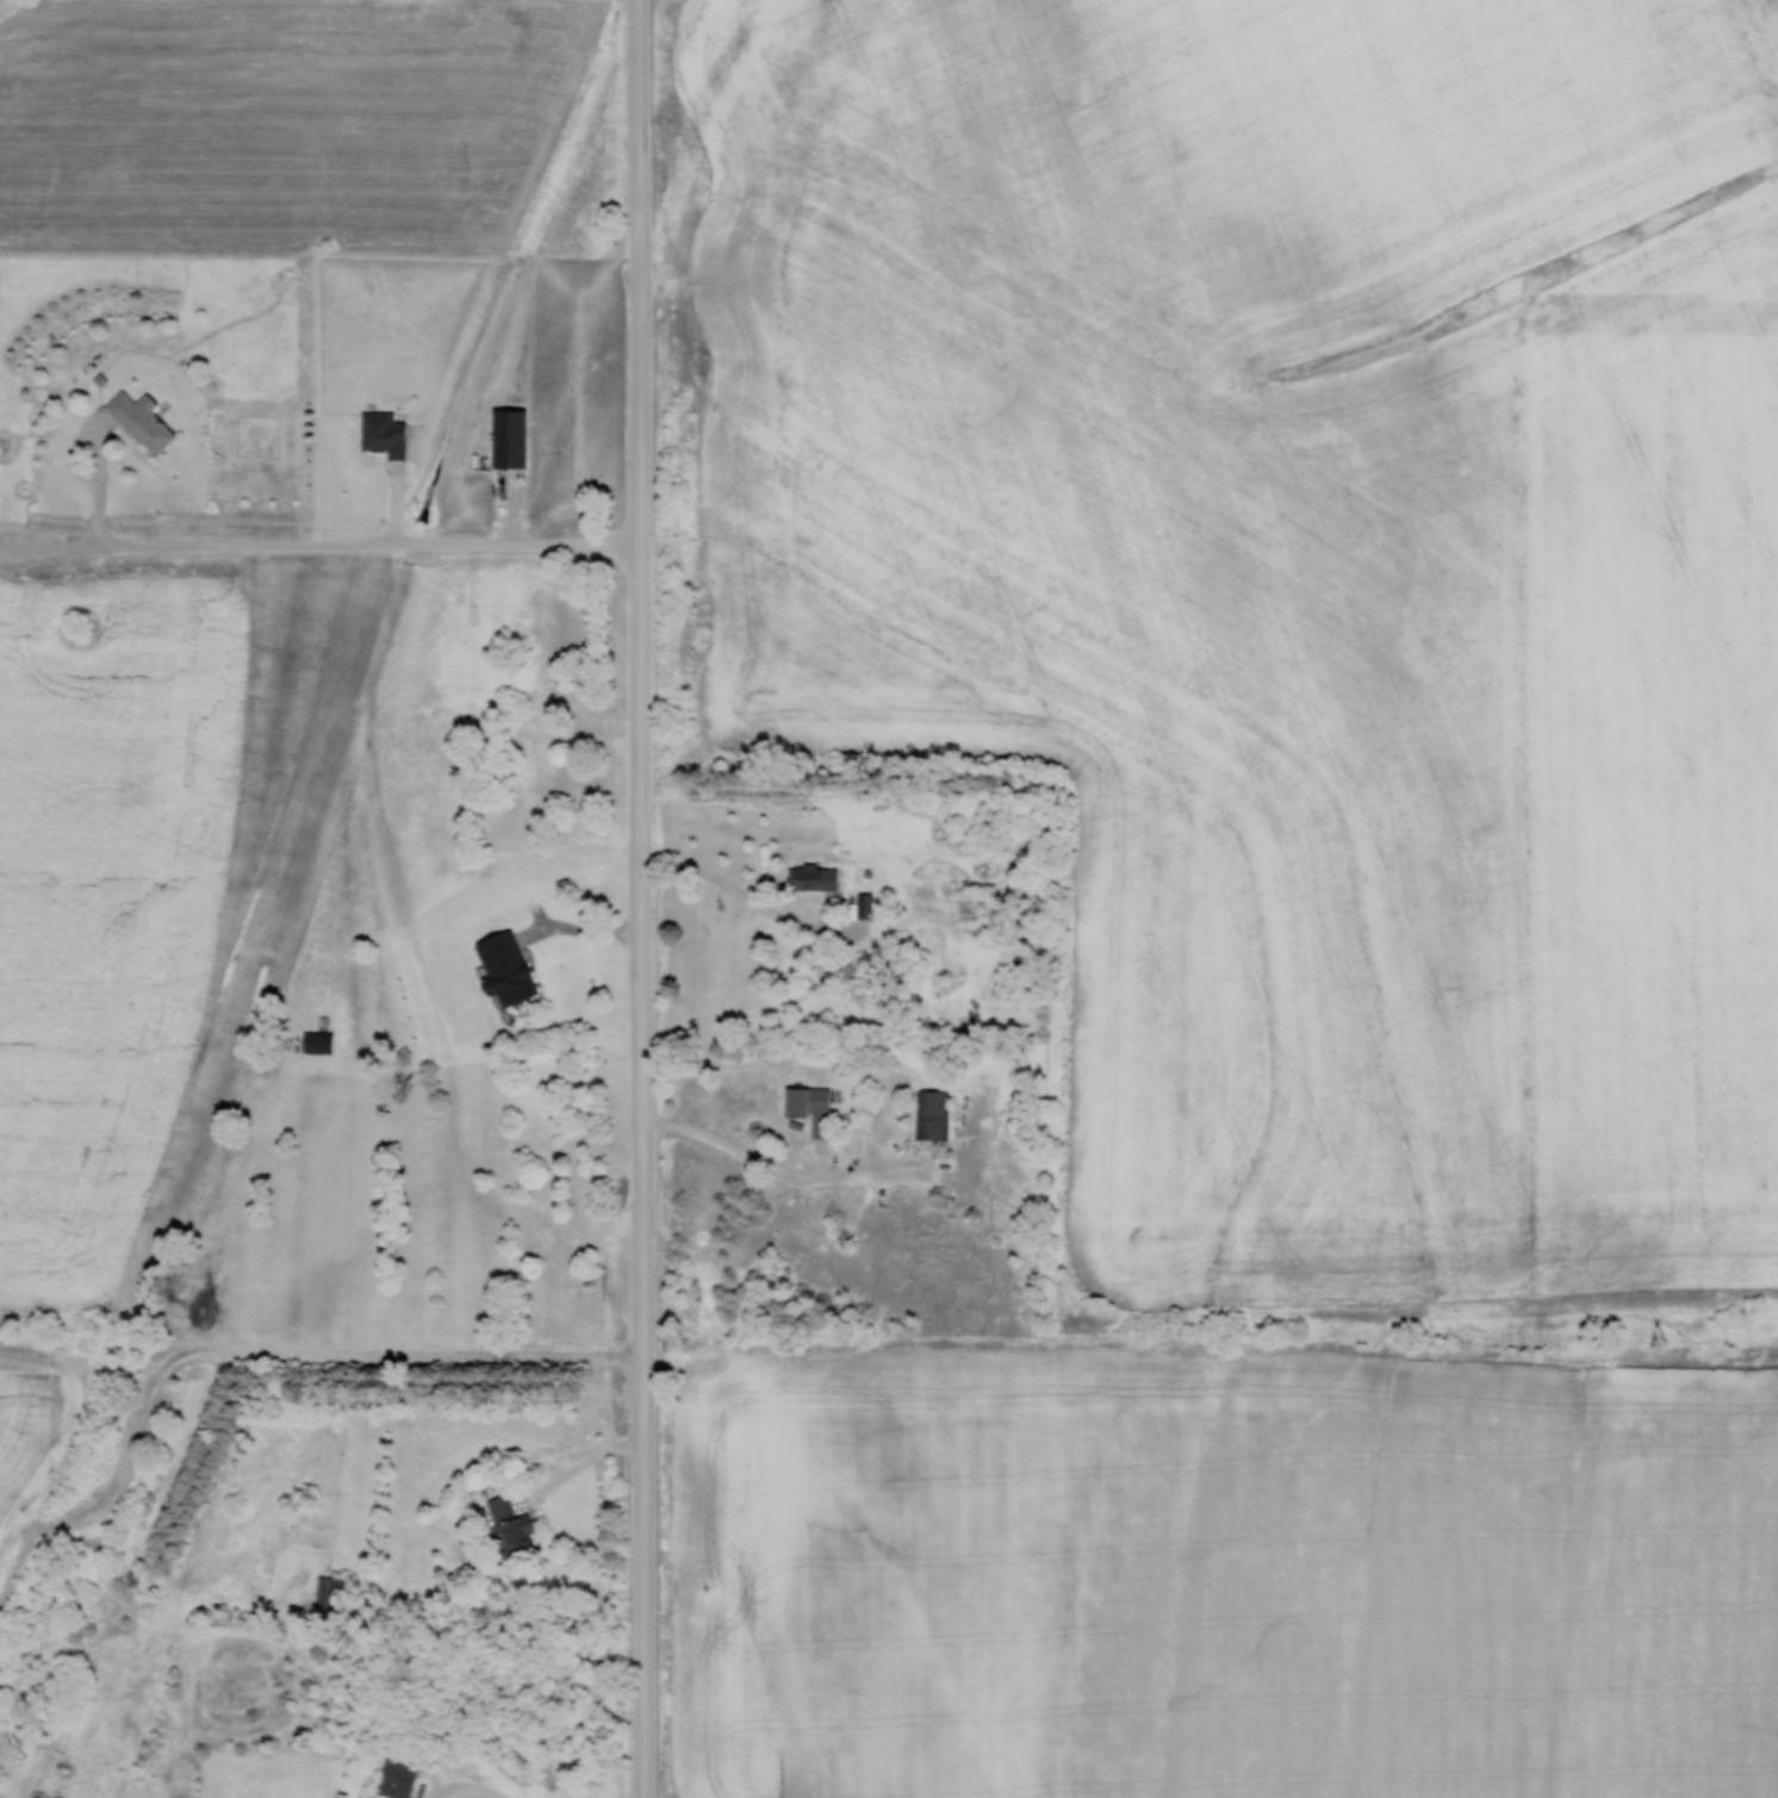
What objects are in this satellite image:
building: (142, 421)
building: (384, 434)
building: (510, 437)
road: (368, 541)
building: (813, 877)
road: (742, 895)
road: (641, 898)
building: (862, 906)
building: (506, 968)
building: (318, 1041)
building: (810, 1107)
building: (930, 1114)
road: (734, 1149)
road: (585, 1461)
building: (510, 1525)
building: (329, 1591)
building: (398, 1777)
road: (470, 1786)

